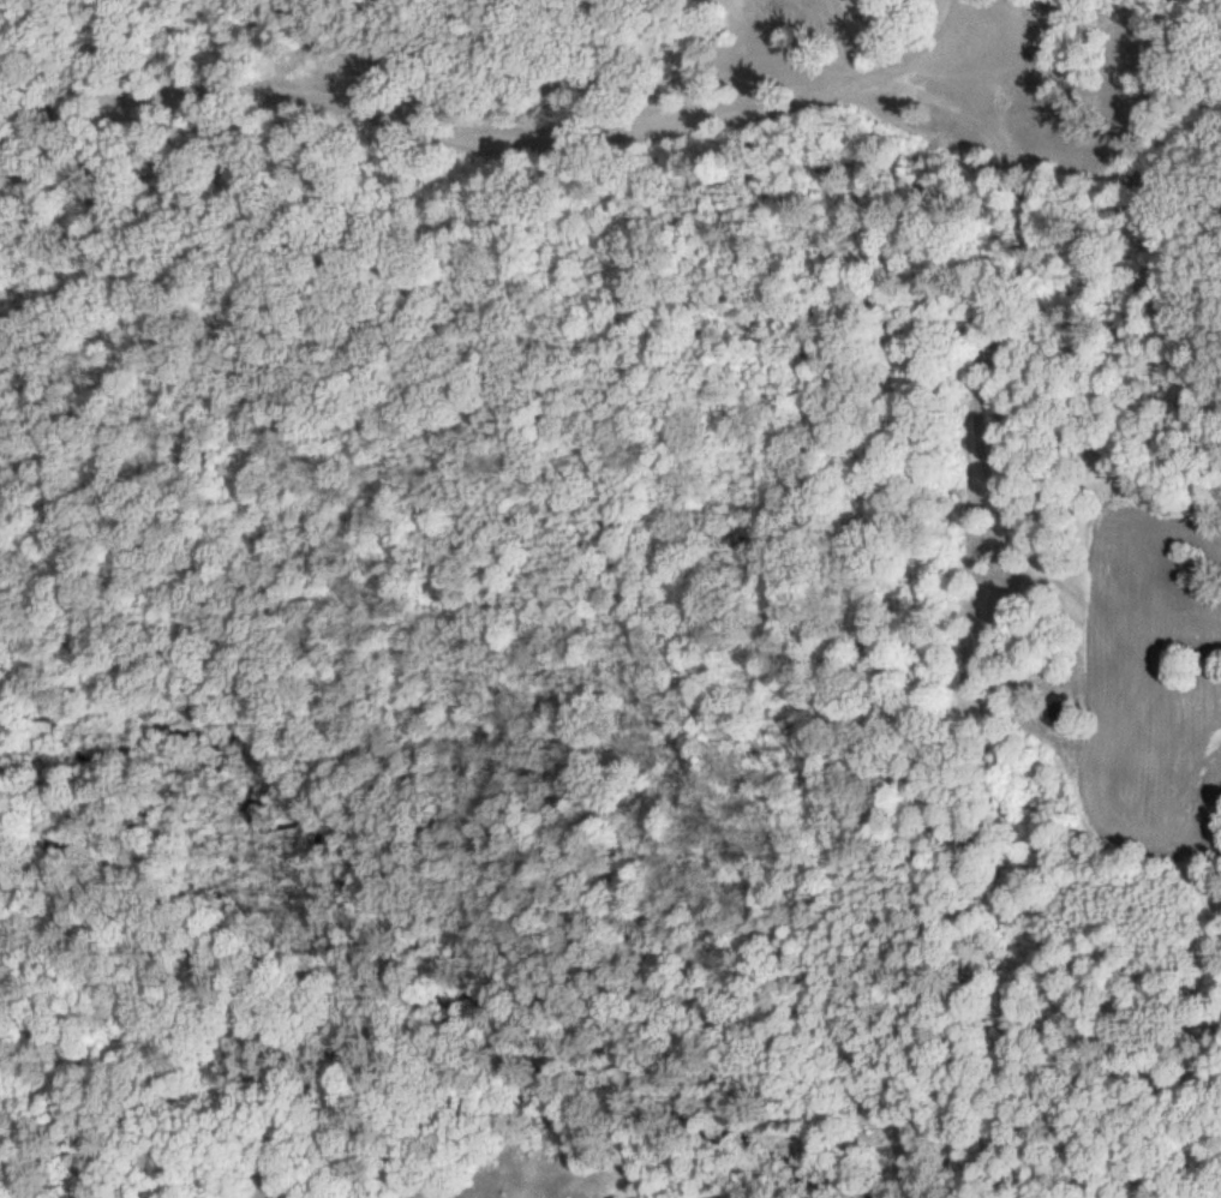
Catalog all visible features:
road: (852, 37)
road: (510, 138)
building: (1051, 706)

